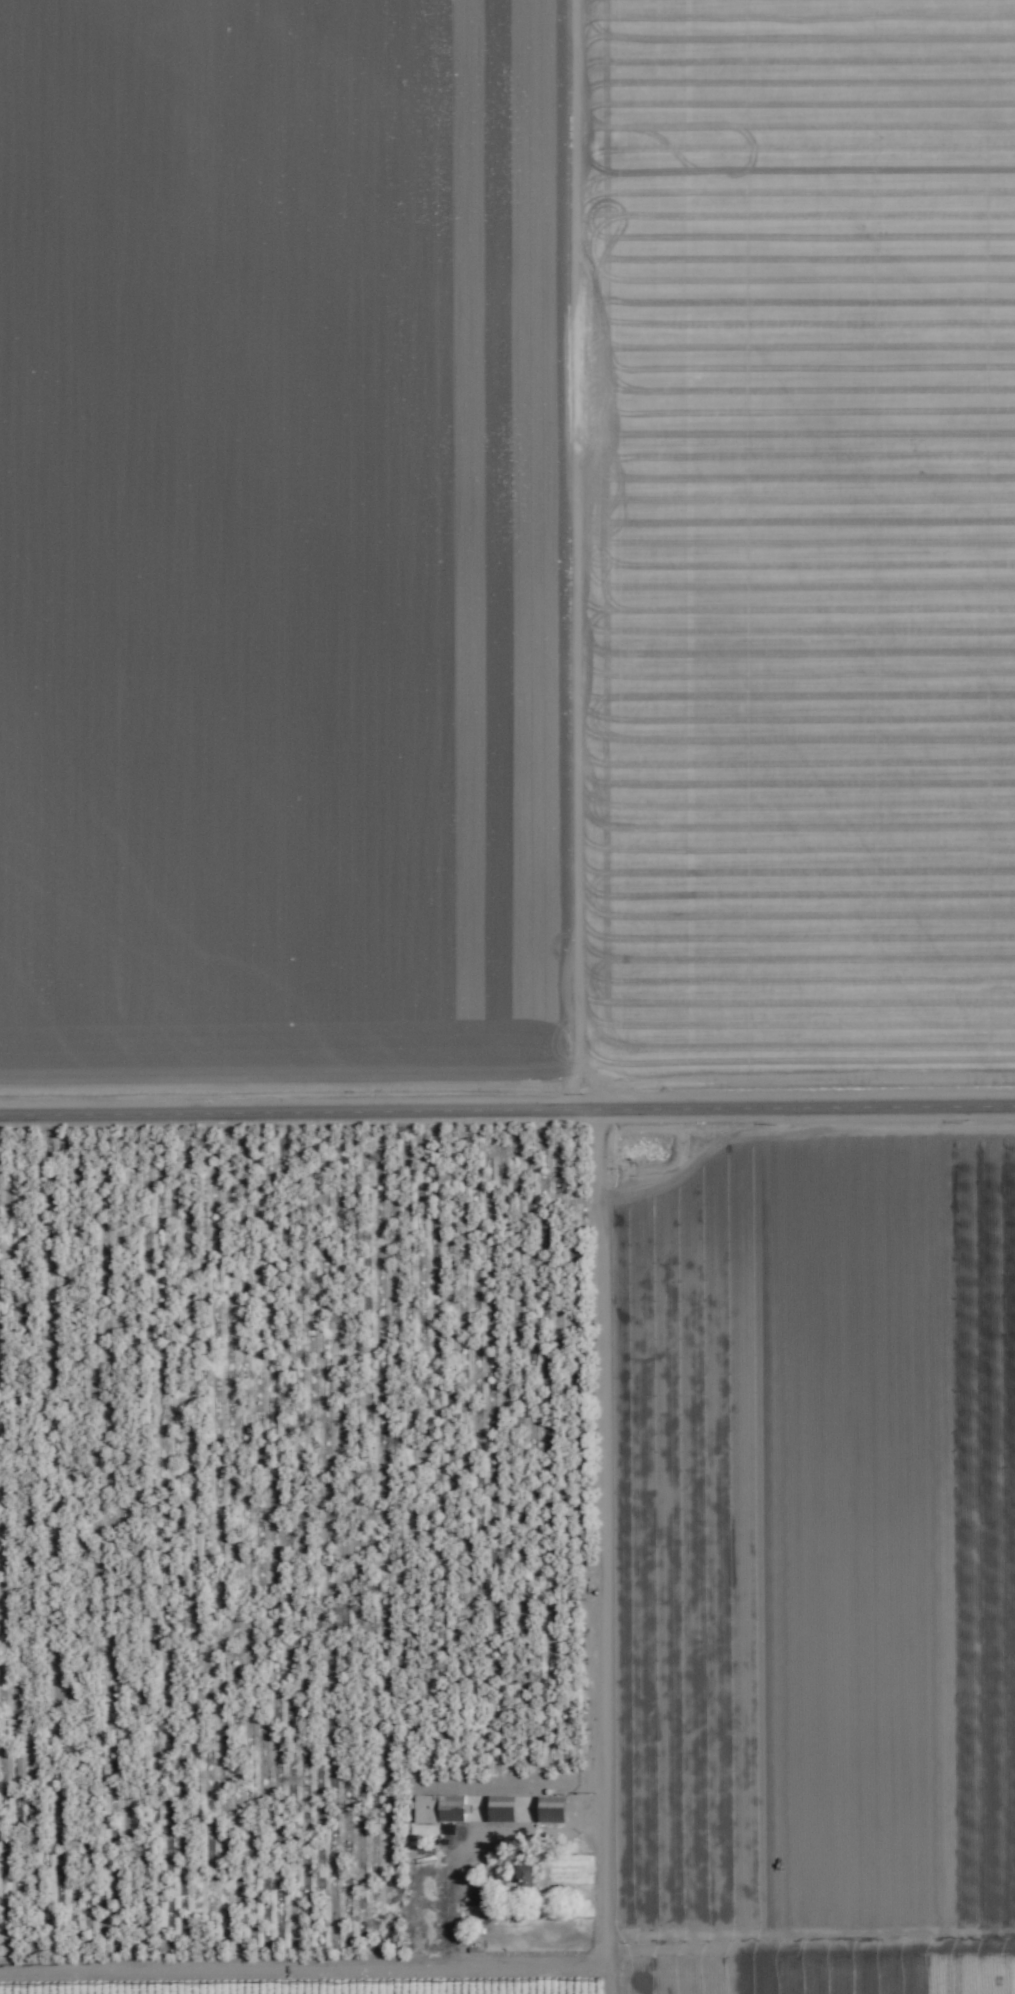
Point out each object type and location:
wastewater plant: (472, 335)
crop: (507, 997)
road: (556, 997)
road: (507, 1099)
road: (699, 1545)
road: (280, 1621)
building: (439, 1809)
building: (499, 1809)
building: (549, 1810)
building: (522, 1877)

